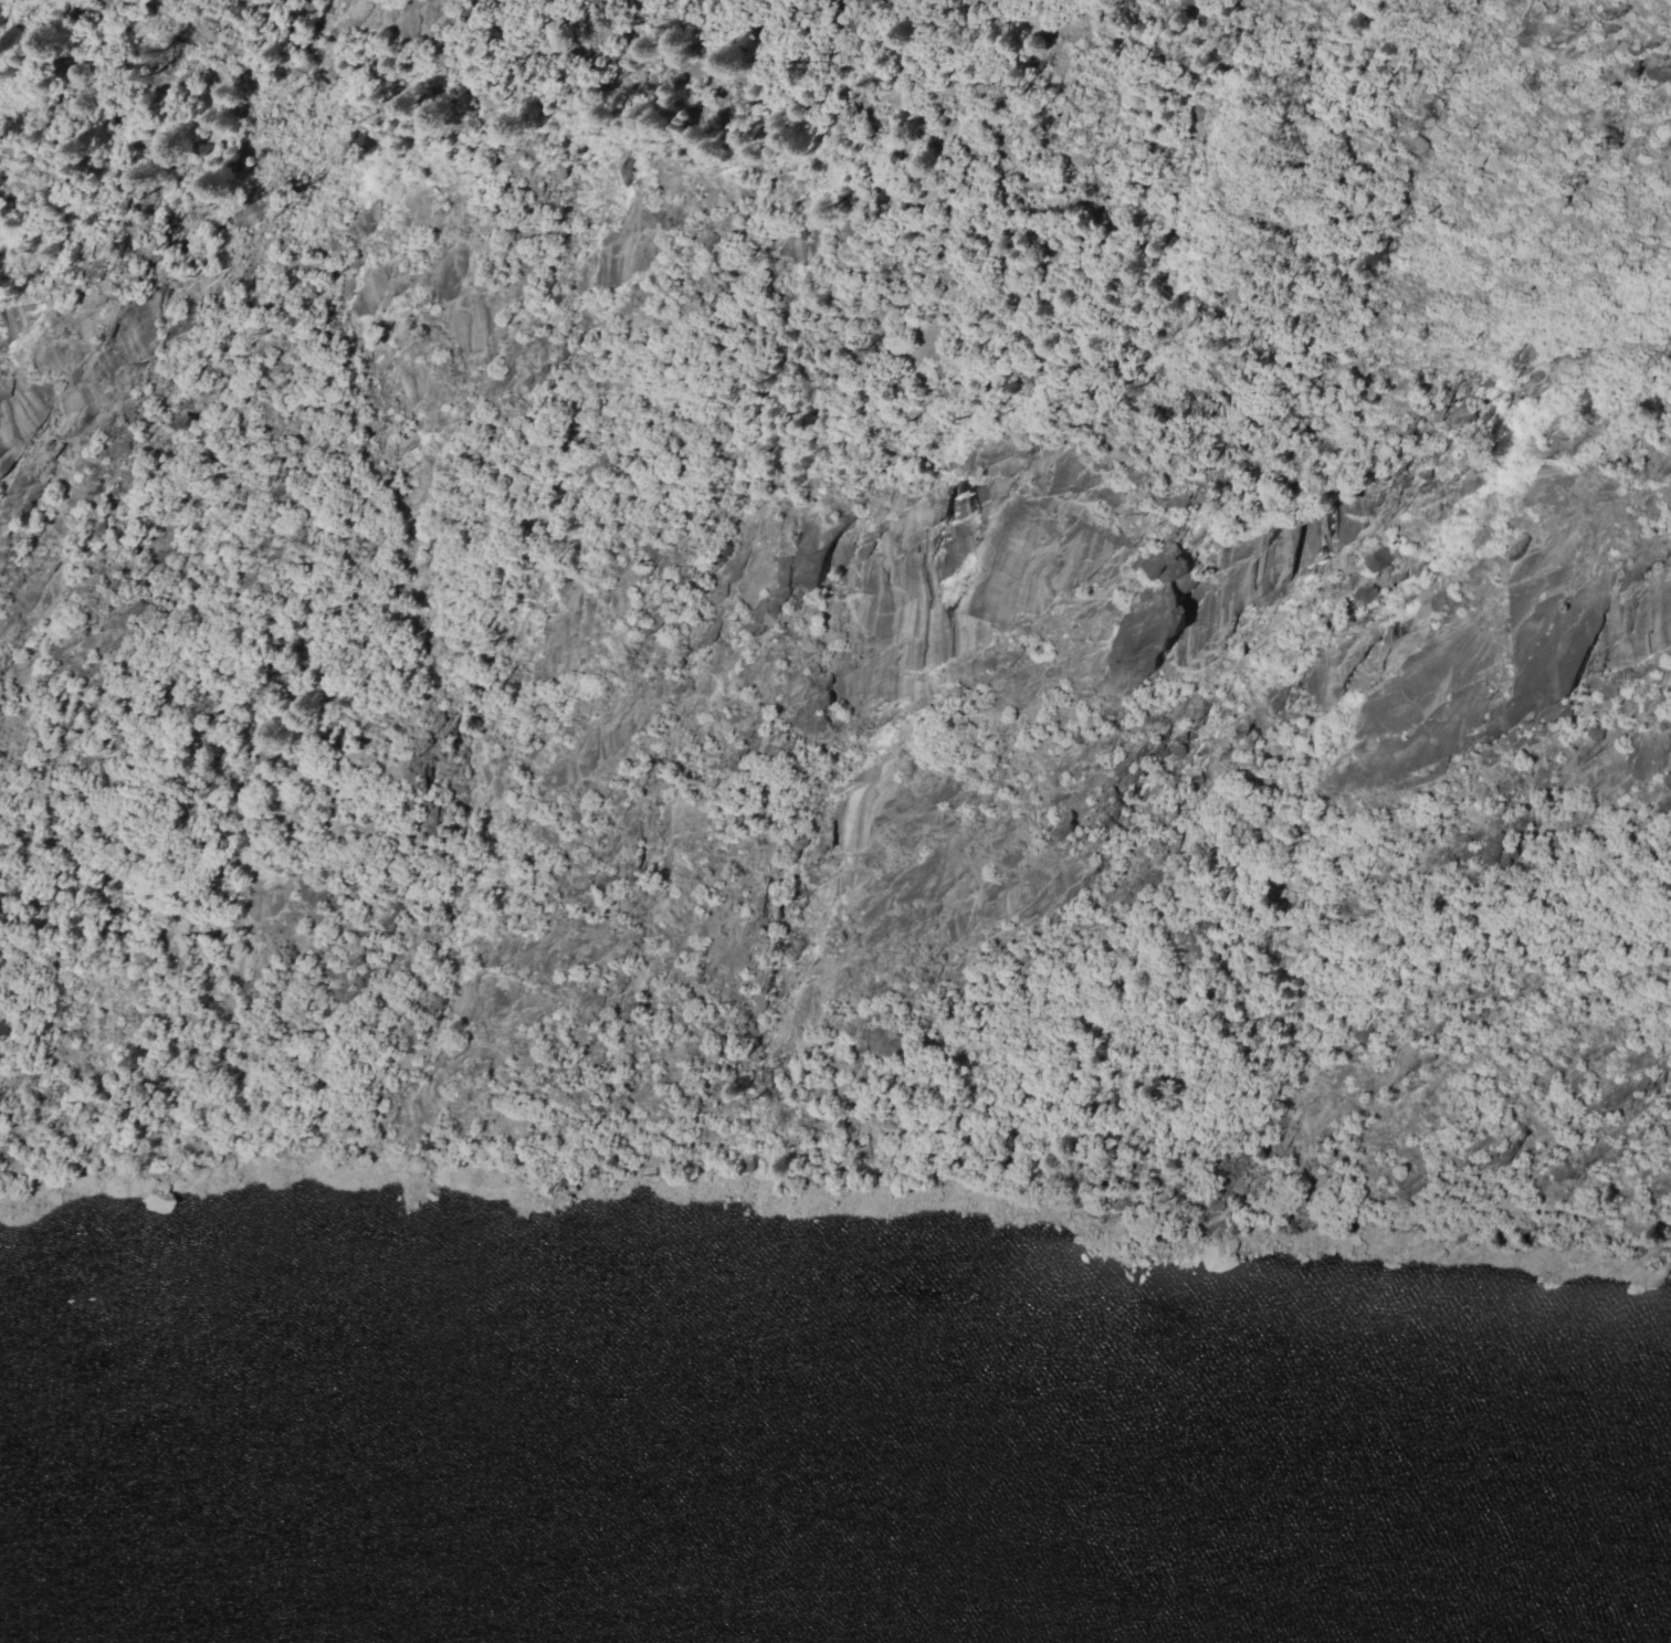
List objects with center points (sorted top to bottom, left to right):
road: (833, 1158)

